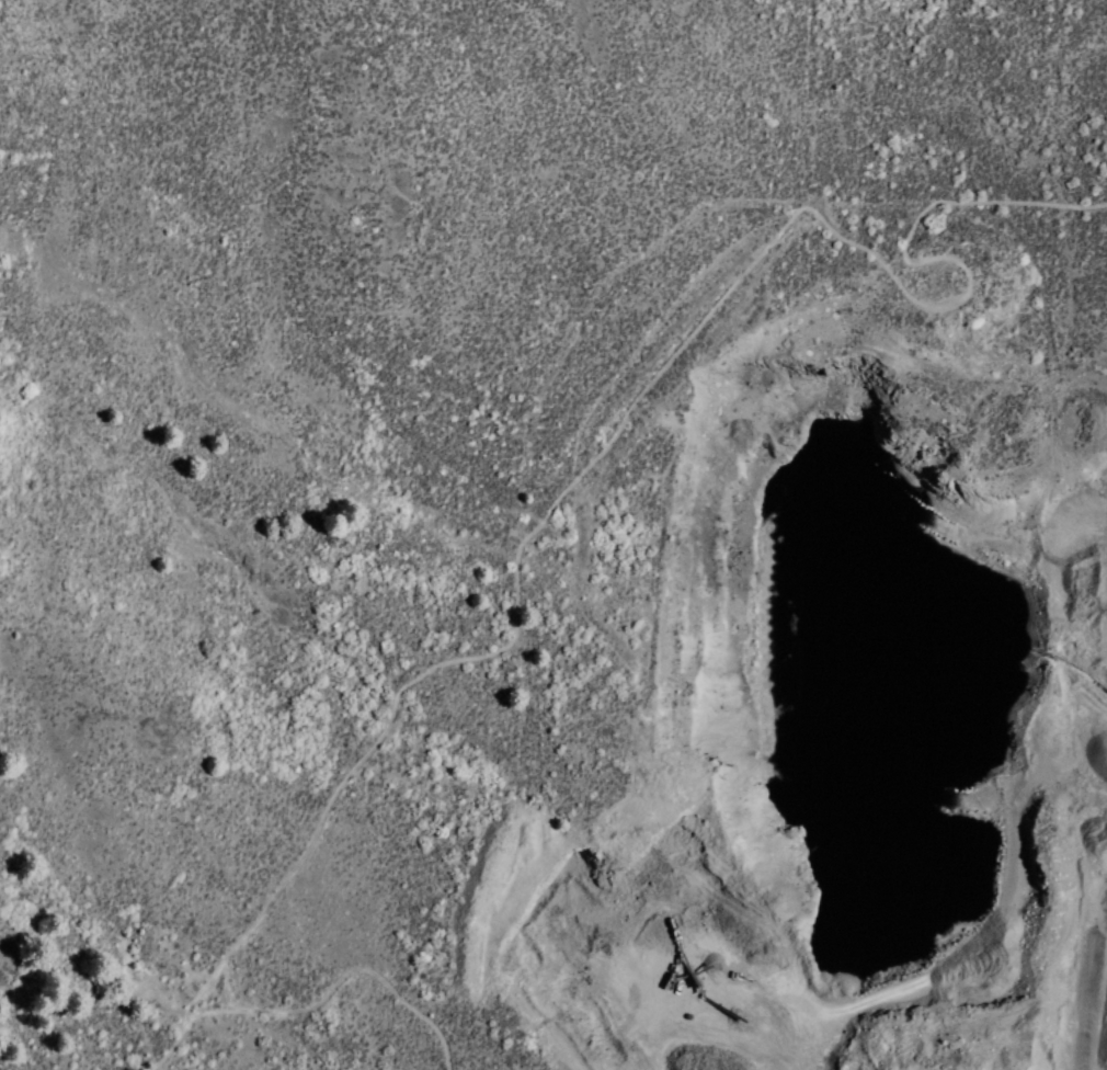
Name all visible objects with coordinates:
crop: (412, 479)
quarry: (859, 654)
road: (335, 980)

